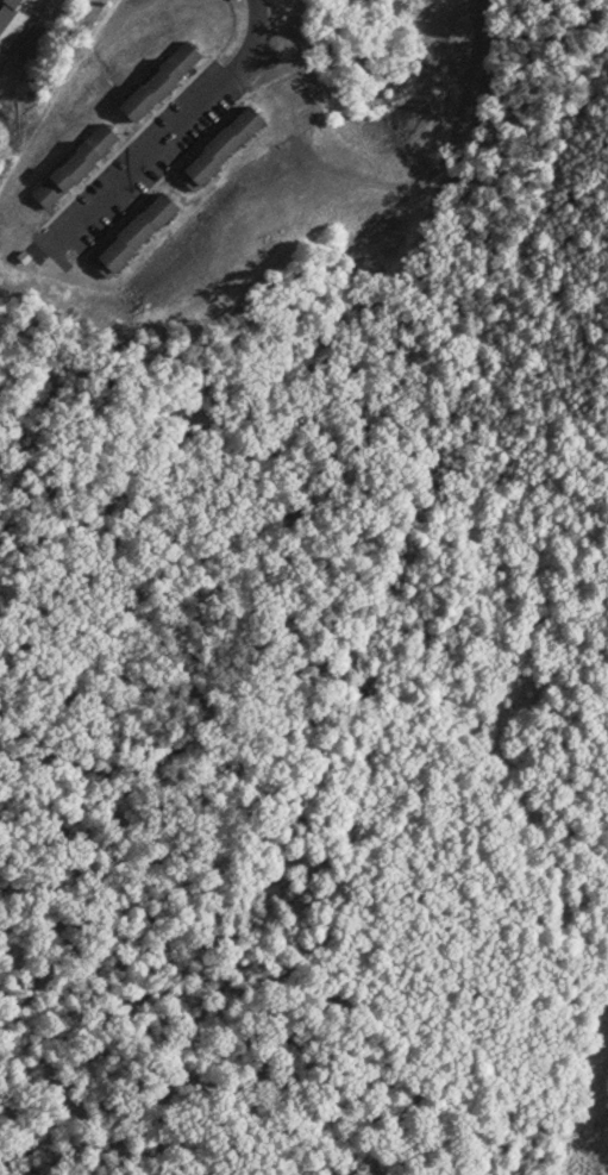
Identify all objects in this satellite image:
building: (13, 20)
building: (156, 81)
road: (174, 138)
building: (218, 149)
building: (71, 165)
building: (131, 236)

